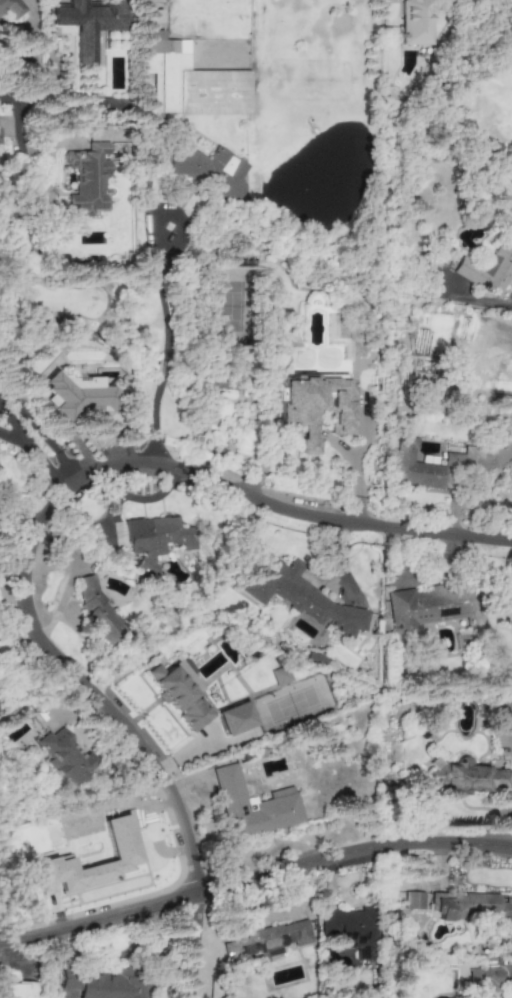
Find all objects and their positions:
building: (13, 9)
building: (422, 18)
building: (88, 24)
road: (38, 70)
road: (6, 100)
building: (209, 170)
building: (86, 177)
road: (18, 201)
building: (510, 227)
building: (488, 269)
building: (351, 336)
road: (169, 346)
building: (78, 394)
building: (314, 405)
road: (25, 417)
road: (322, 435)
building: (431, 465)
road: (133, 498)
road: (22, 532)
building: (154, 540)
road: (71, 577)
building: (299, 594)
road: (6, 597)
building: (431, 608)
building: (99, 612)
building: (280, 676)
building: (180, 693)
building: (504, 710)
building: (235, 718)
building: (66, 756)
building: (467, 776)
building: (252, 806)
building: (119, 837)
road: (253, 880)
building: (413, 900)
building: (353, 927)
building: (267, 940)
building: (485, 981)
building: (104, 984)
building: (18, 990)

